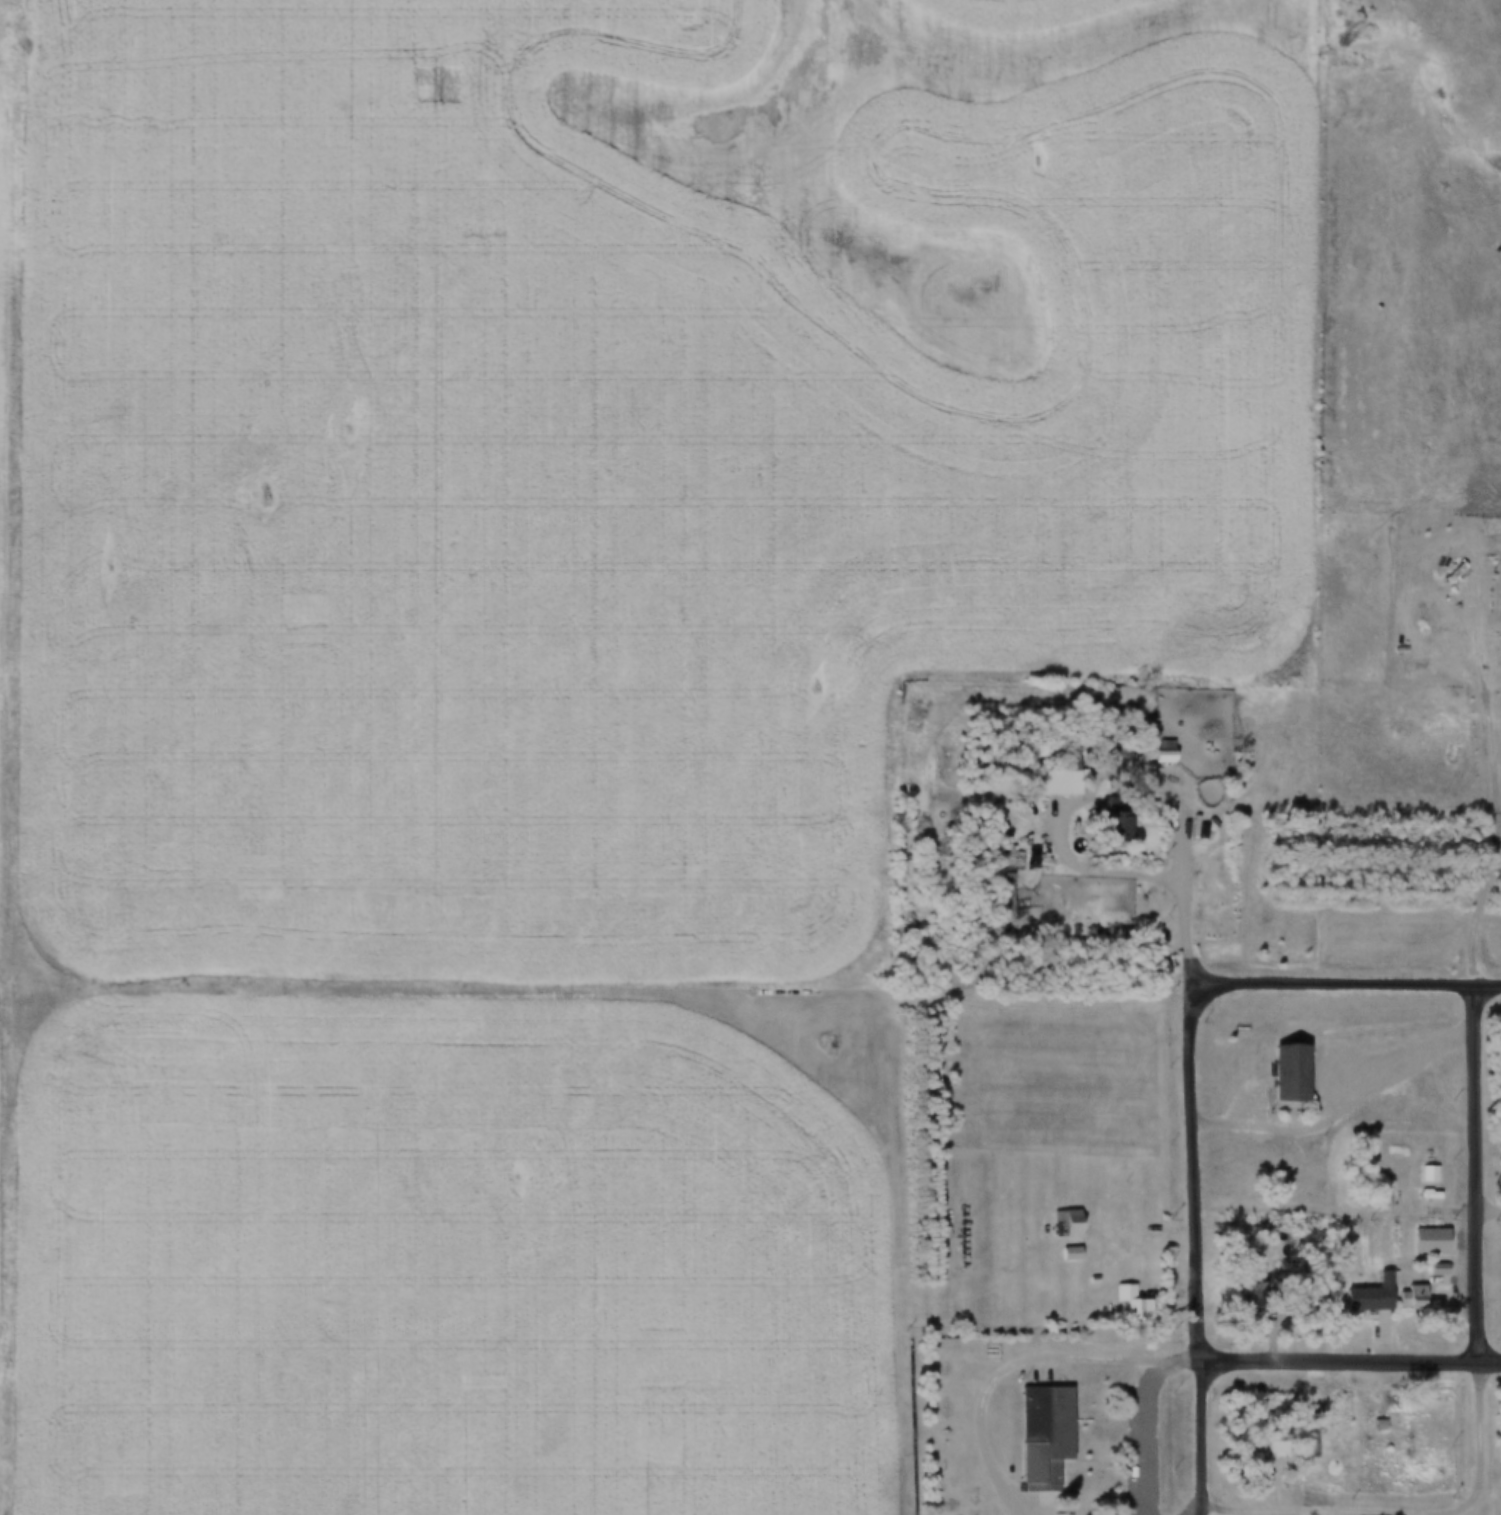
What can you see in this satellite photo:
road: (5, 477)
building: (1459, 571)
building: (1486, 595)
building: (1169, 750)
building: (1070, 777)
building: (1126, 822)
road: (1348, 989)
building: (1289, 1074)
road: (1346, 1113)
road: (1198, 1164)
building: (1432, 1172)
road: (1477, 1177)
building: (1071, 1222)
building: (1074, 1252)
building: (1264, 1293)
building: (1135, 1300)
road: (1025, 1363)
road: (1352, 1365)
building: (1049, 1434)
building: (1372, 1434)
road: (1145, 1437)
building: (1280, 1441)
road: (1481, 1444)
building: (1316, 1445)
road: (1201, 1513)
road: (1205, 1513)
road: (1274, 1513)

